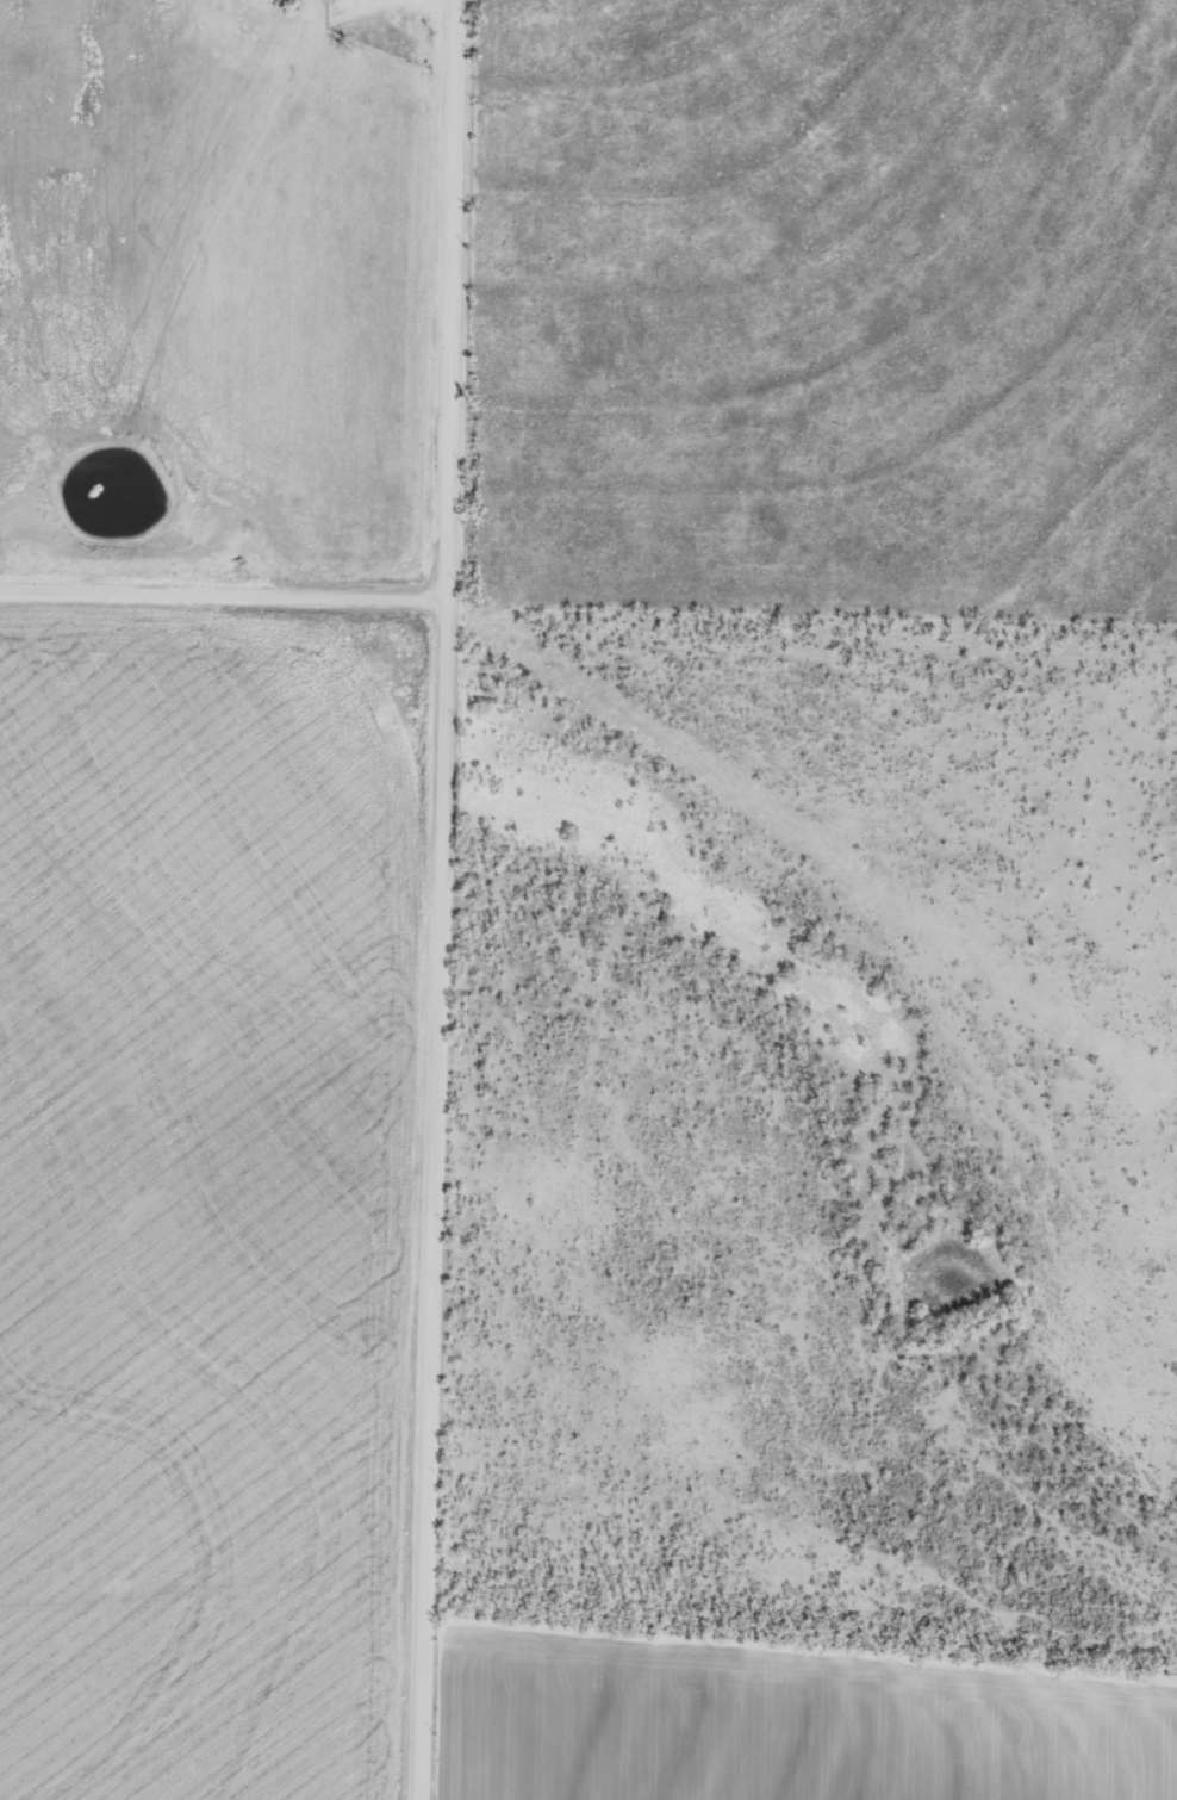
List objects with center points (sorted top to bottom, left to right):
road: (225, 591)
road: (442, 900)

